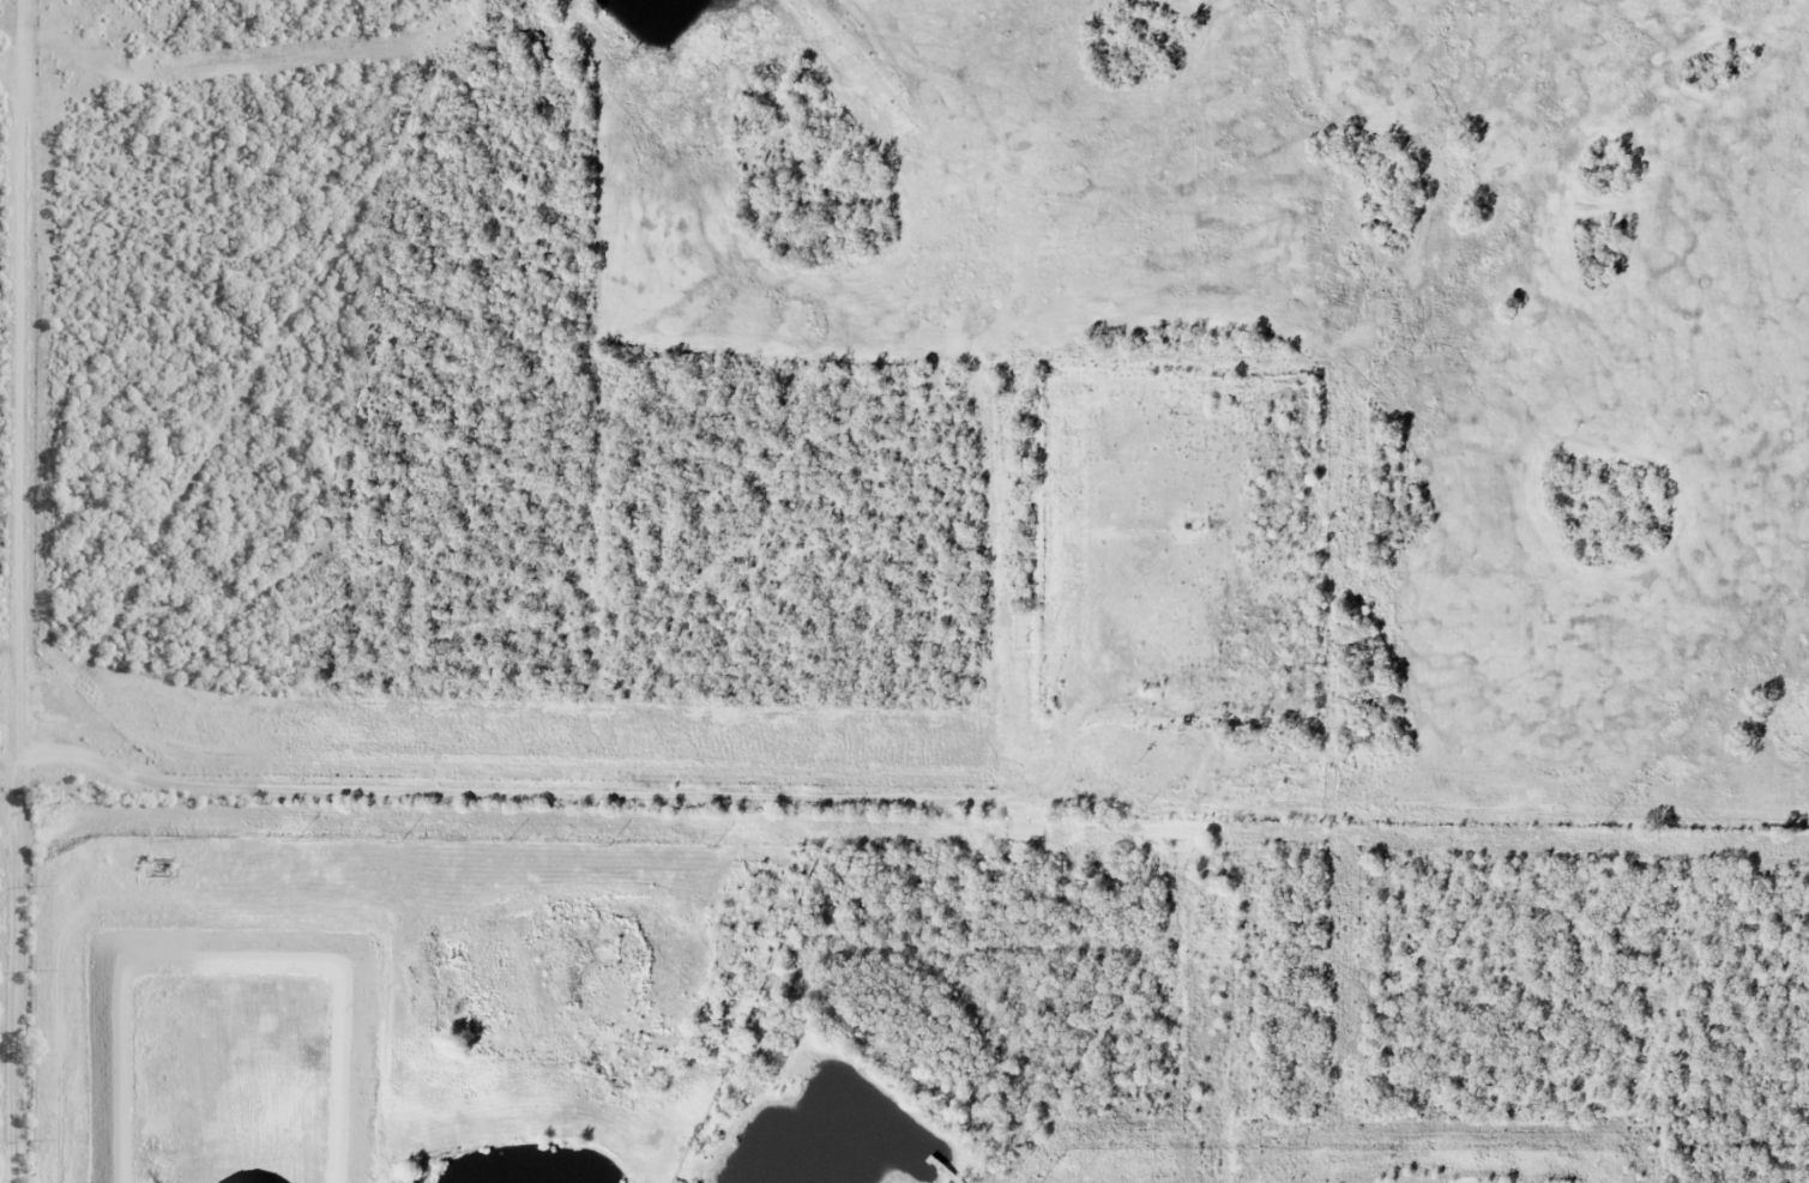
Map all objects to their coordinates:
road: (10, 658)

